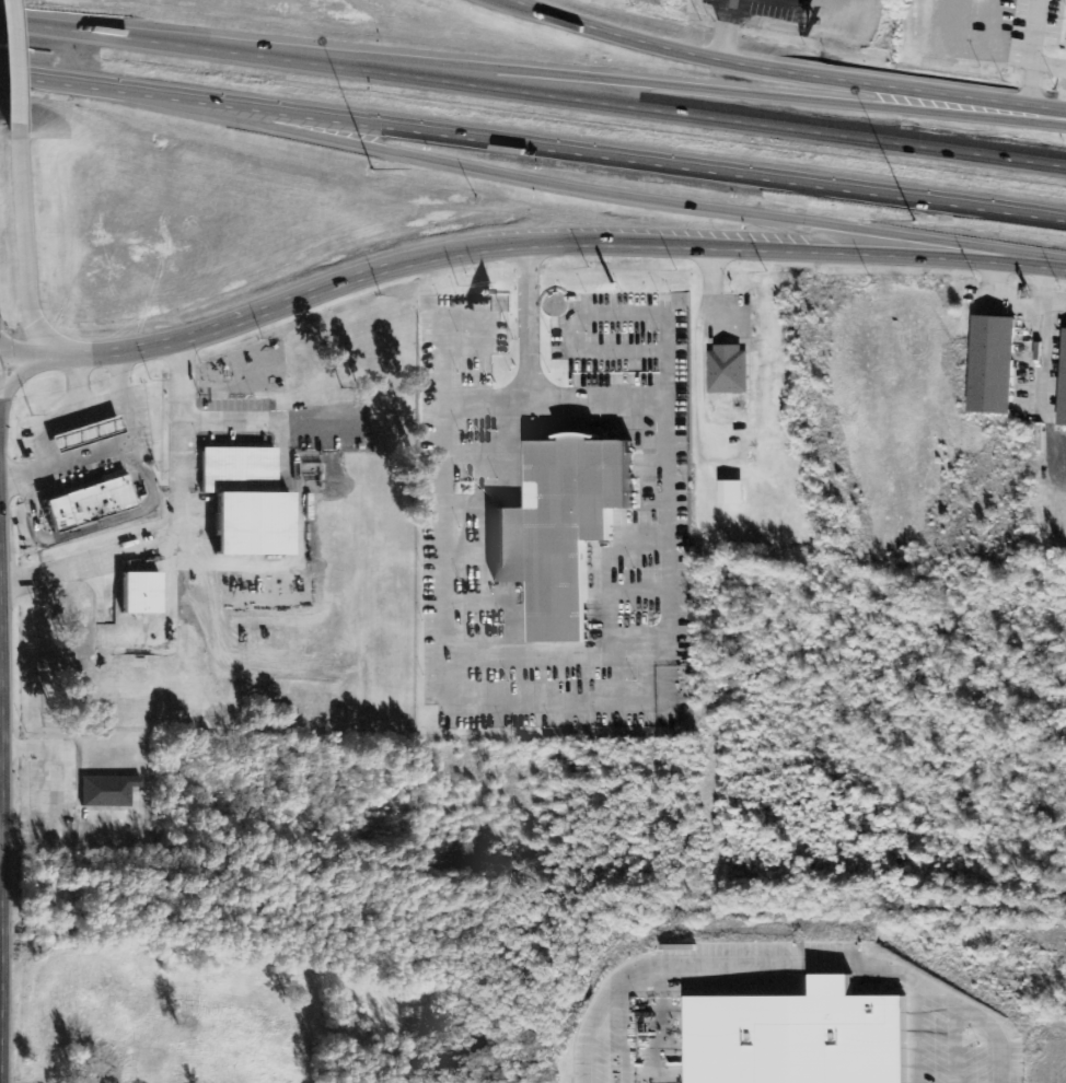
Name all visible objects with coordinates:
road: (1028, 33)
road: (9, 61)
road: (547, 66)
road: (787, 68)
road: (1028, 70)
road: (532, 96)
road: (532, 145)
road: (494, 168)
street lamp: (374, 170)
street lamp: (913, 222)
road: (561, 238)
road: (24, 246)
road: (36, 351)
building: (998, 364)
building: (731, 371)
building: (1065, 409)
building: (100, 434)
gas station: (100, 434)
building: (738, 493)
building: (111, 500)
building: (256, 504)
building: (68, 514)
building: (568, 532)
building: (144, 593)
building: (120, 789)
building: (806, 1037)

